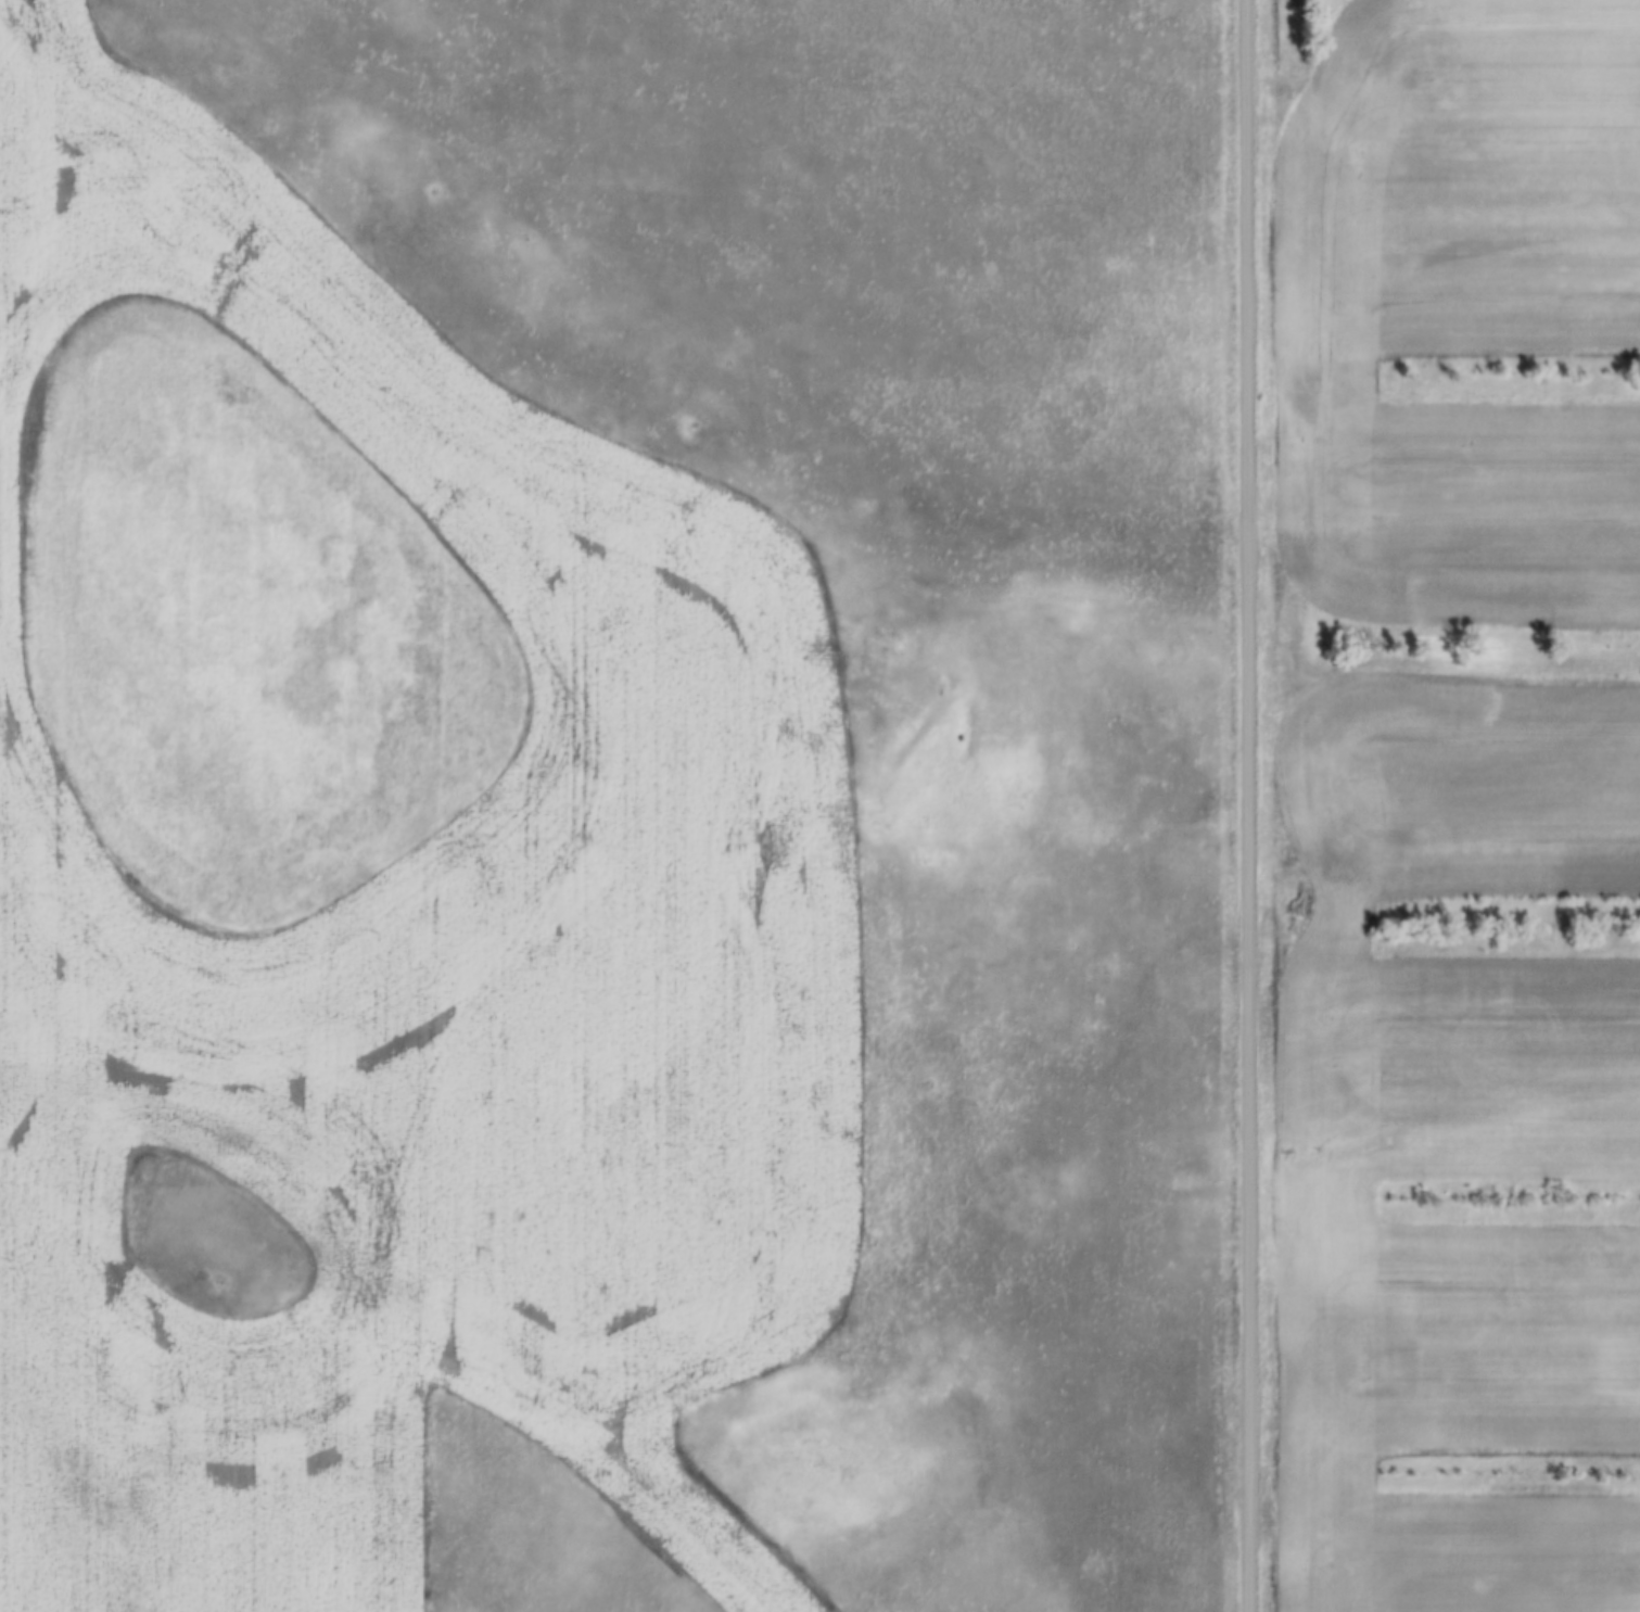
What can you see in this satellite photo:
road: (1253, 805)

